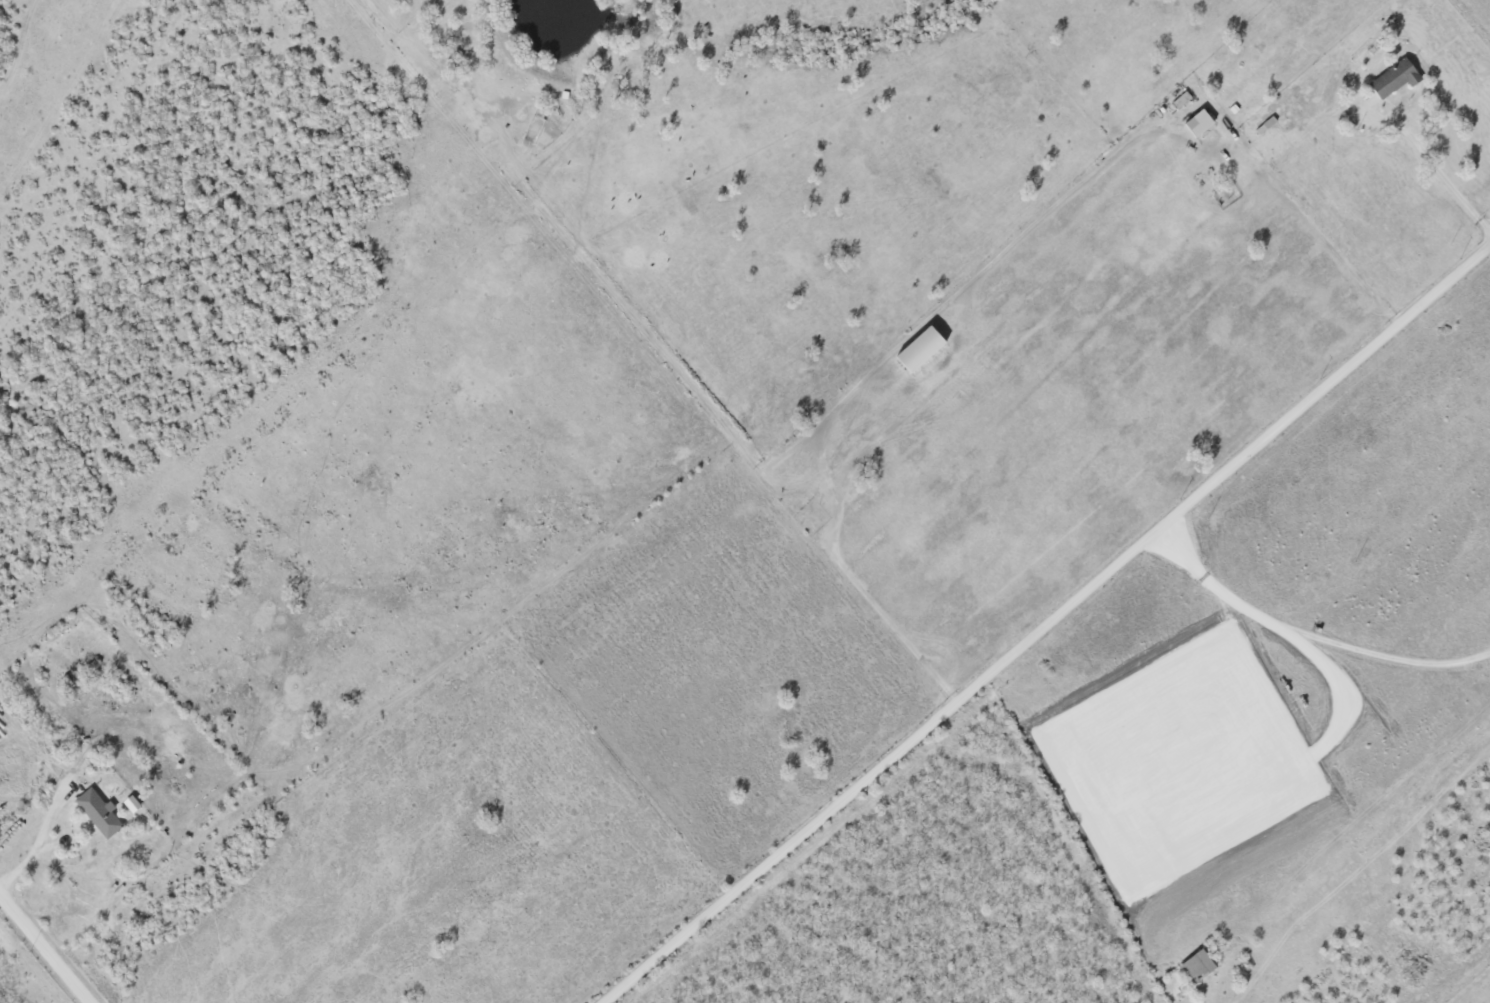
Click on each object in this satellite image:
building: (1394, 79)
building: (1198, 123)
road: (1431, 162)
road: (1274, 187)
road: (1046, 623)
road: (1311, 628)
building: (99, 812)
road: (40, 838)
road: (45, 948)
building: (1196, 965)

